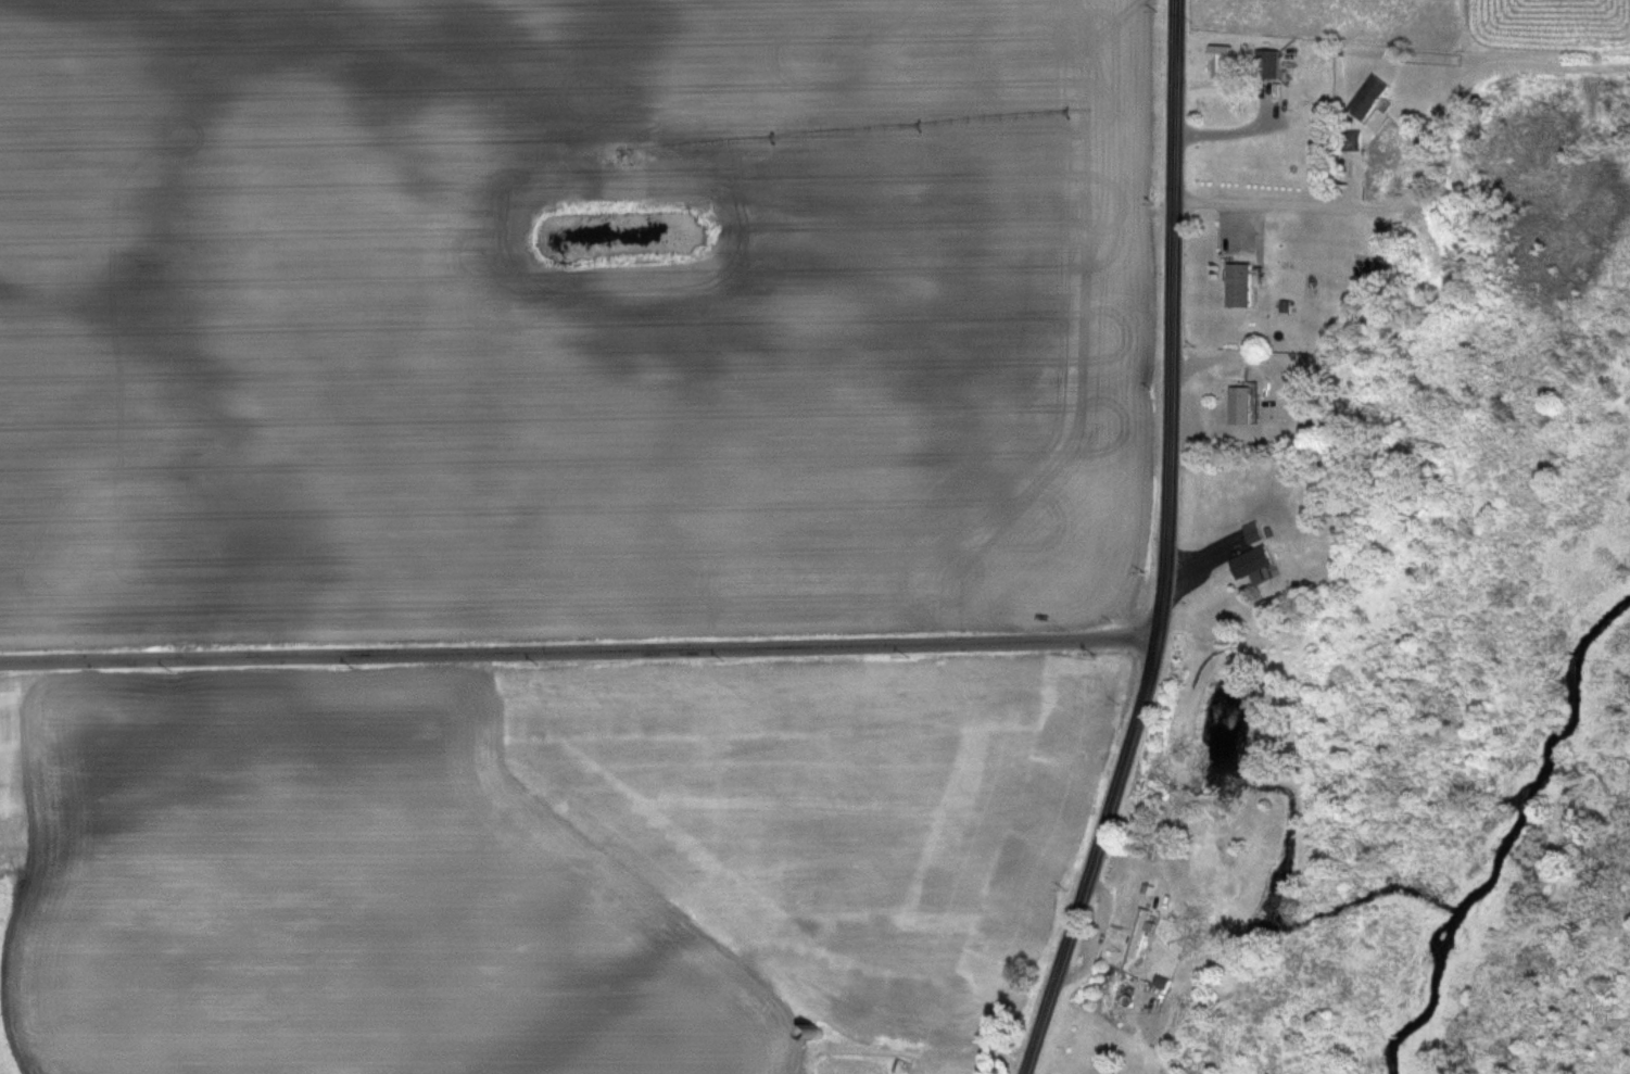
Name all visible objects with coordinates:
building: (1217, 61)
building: (1265, 64)
building: (1366, 97)
building: (1350, 139)
road: (1428, 175)
building: (1239, 285)
road: (1174, 317)
road: (1263, 356)
building: (1240, 405)
building: (1250, 559)
road: (579, 647)
road: (1095, 856)
building: (1137, 932)

